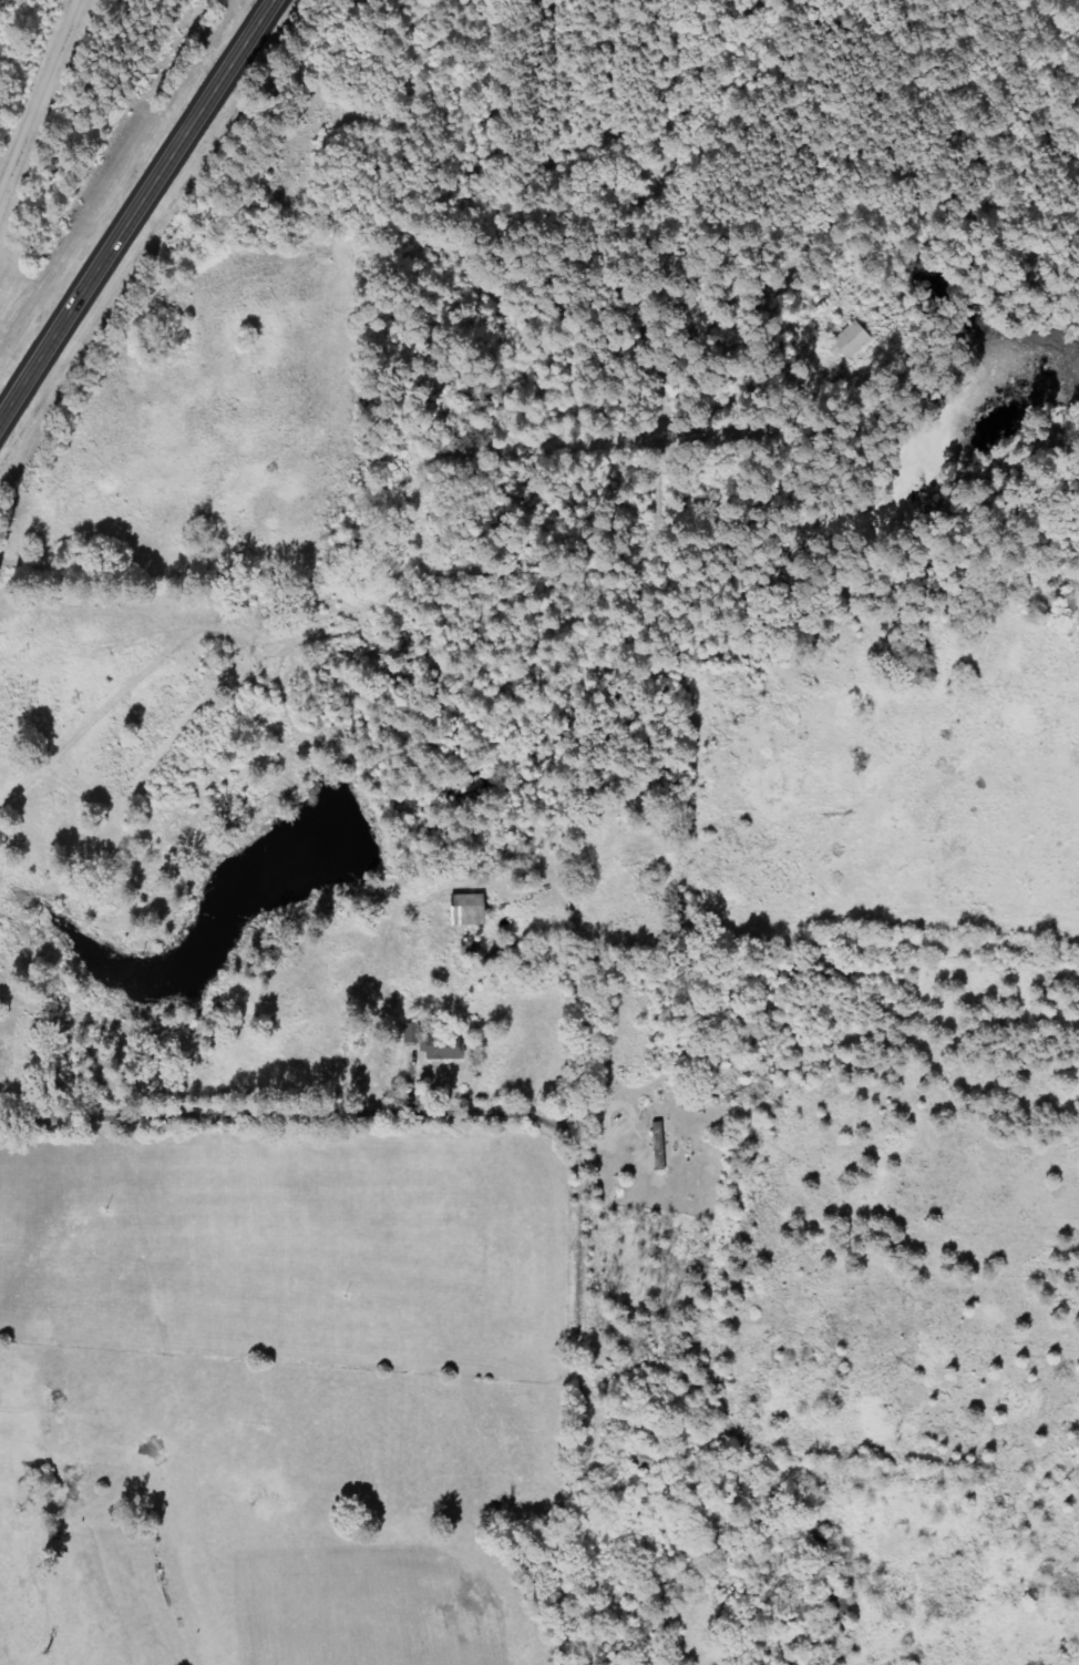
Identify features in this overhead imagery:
road: (37, 96)
road: (138, 213)
building: (847, 341)
building: (431, 1043)
road: (398, 1087)

